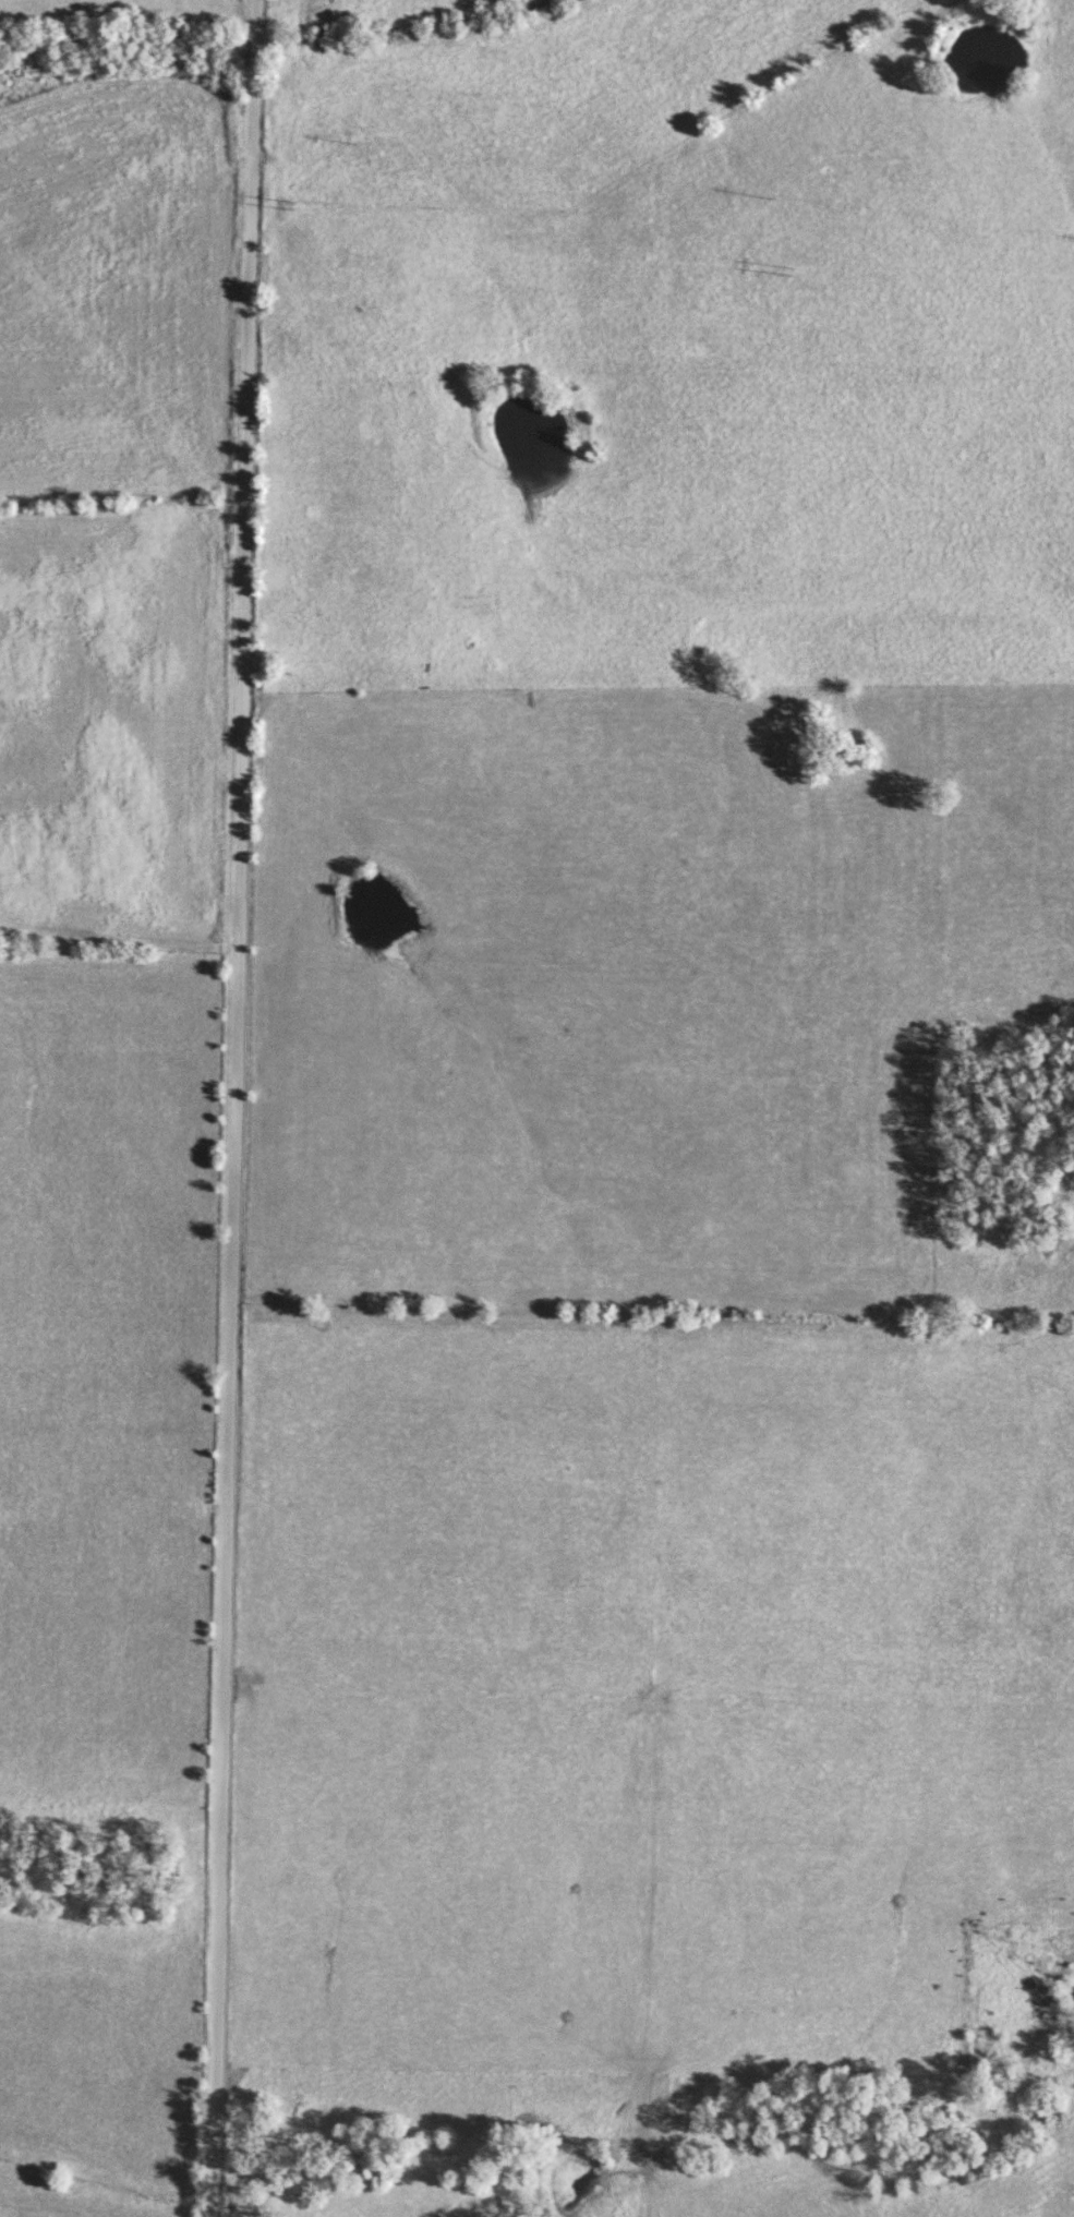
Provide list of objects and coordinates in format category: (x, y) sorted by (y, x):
road: (234, 1108)

